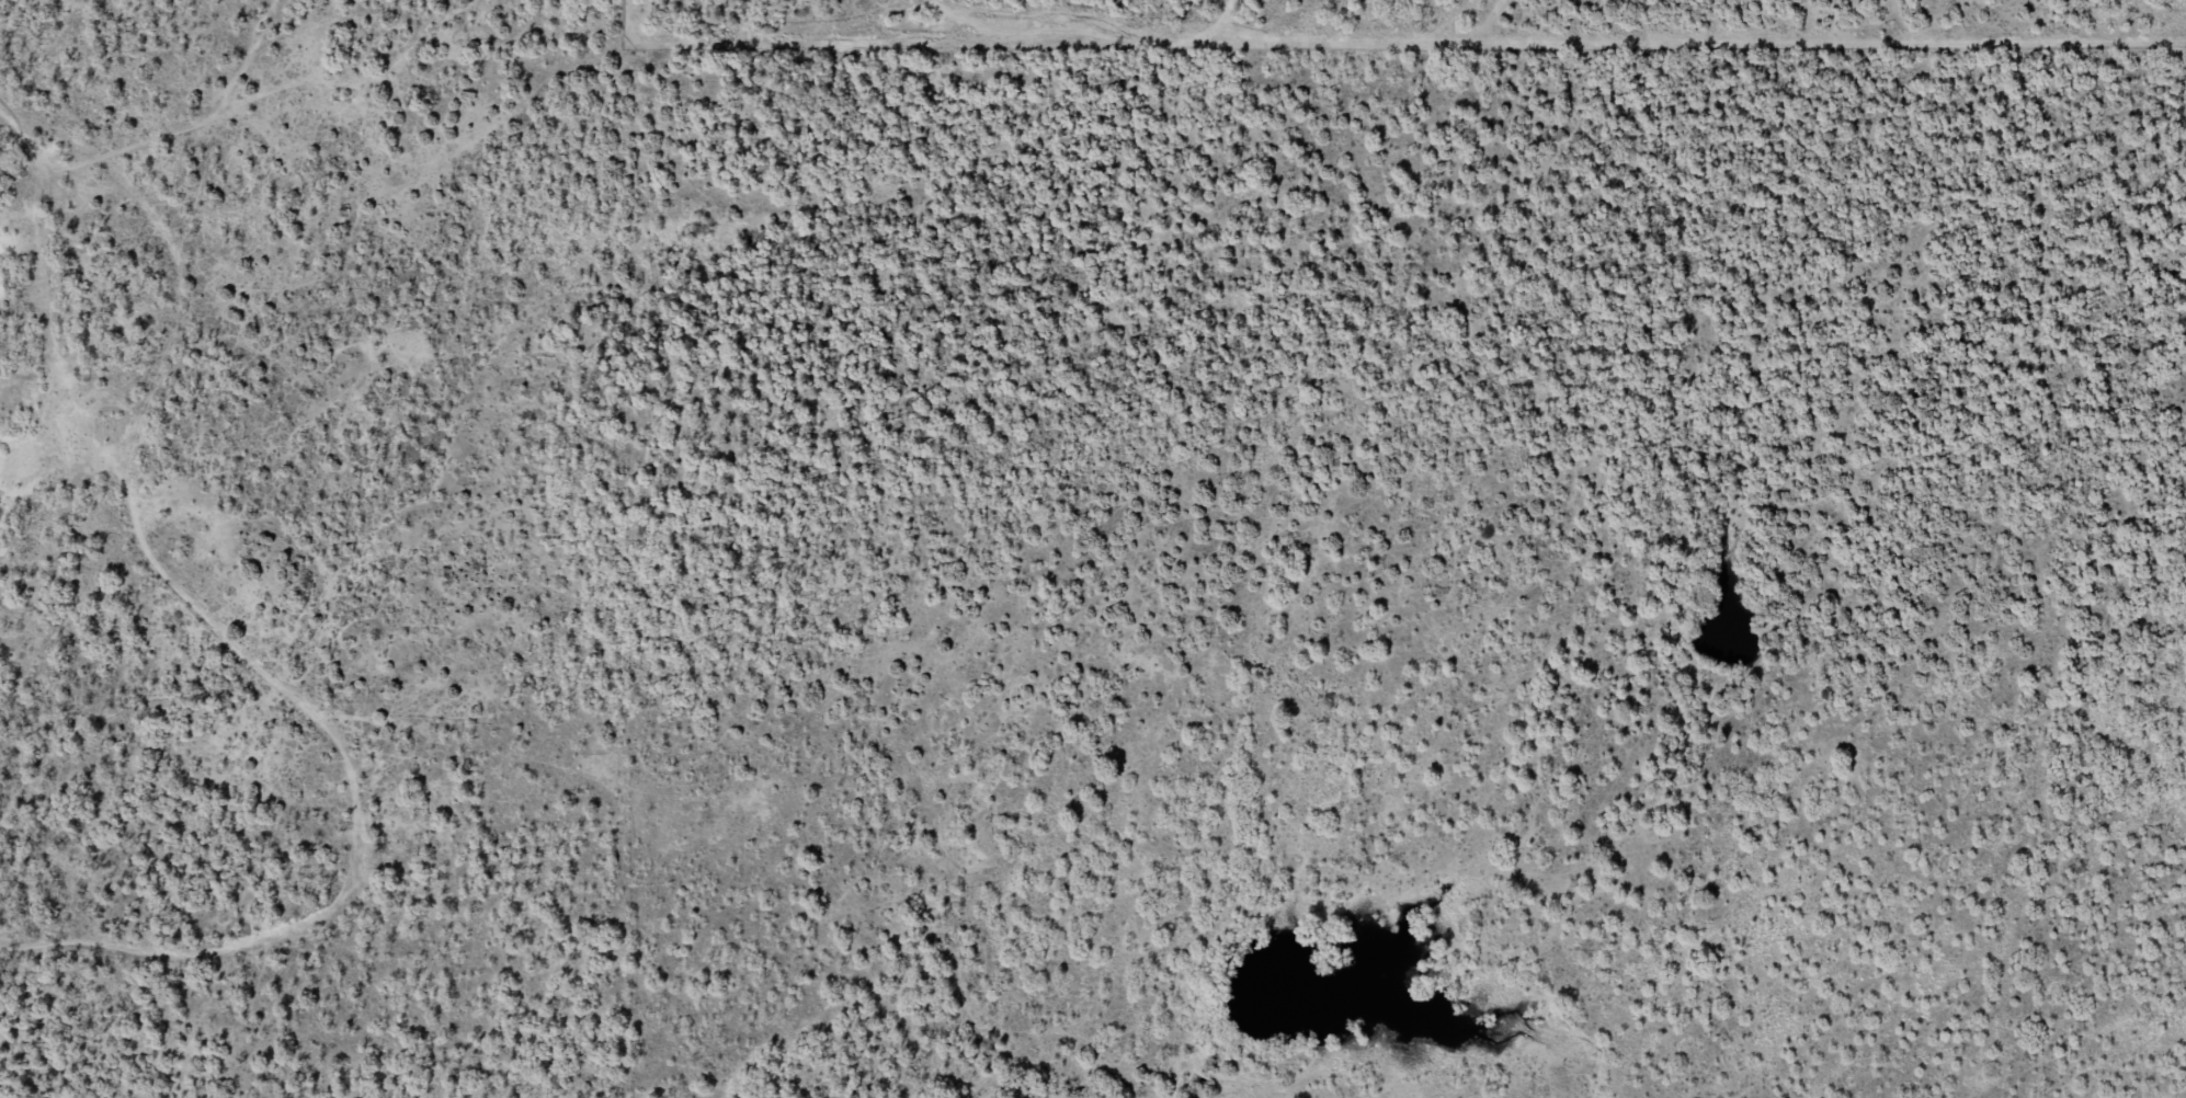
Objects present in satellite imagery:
road: (718, 790)

